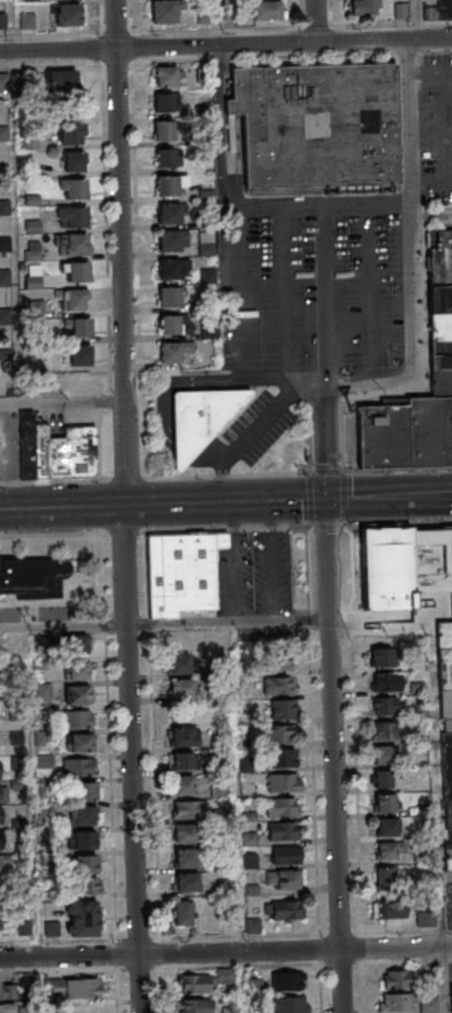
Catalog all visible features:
building: (362, 8)
building: (444, 9)
building: (399, 11)
building: (267, 12)
building: (227, 13)
building: (66, 14)
building: (164, 14)
building: (202, 16)
road: (412, 19)
building: (3, 20)
road: (315, 21)
road: (226, 45)
building: (168, 76)
building: (62, 79)
building: (4, 81)
building: (164, 102)
road: (414, 122)
parking lot: (435, 126)
road: (221, 128)
building: (316, 128)
building: (164, 131)
building: (72, 133)
building: (3, 134)
building: (165, 158)
building: (72, 161)
building: (169, 184)
building: (73, 188)
building: (4, 207)
road: (319, 207)
building: (169, 213)
building: (72, 217)
building: (172, 241)
building: (72, 244)
building: (206, 249)
building: (439, 257)
building: (172, 268)
building: (76, 271)
building: (5, 278)
parking lot: (308, 282)
road: (285, 293)
road: (369, 295)
building: (169, 296)
building: (439, 299)
building: (74, 300)
road: (323, 301)
building: (5, 315)
building: (174, 324)
building: (440, 327)
building: (79, 328)
road: (417, 335)
road: (237, 338)
building: (174, 351)
building: (440, 354)
building: (80, 355)
building: (441, 382)
road: (62, 404)
building: (200, 420)
building: (429, 431)
road: (254, 432)
parking lot: (248, 434)
building: (382, 436)
building: (26, 445)
building: (64, 453)
road: (5, 457)
road: (400, 469)
road: (329, 471)
road: (155, 478)
road: (433, 494)
traffic signals: (326, 497)
road: (349, 497)
road: (311, 498)
road: (207, 500)
road: (127, 506)
road: (400, 523)
road: (330, 524)
road: (125, 533)
road: (53, 534)
road: (270, 560)
road: (234, 561)
building: (430, 562)
building: (385, 572)
building: (181, 573)
parking lot: (254, 573)
building: (33, 576)
building: (451, 608)
parking lot: (64, 613)
parking lot: (9, 614)
road: (164, 624)
road: (380, 629)
building: (444, 638)
building: (76, 645)
building: (13, 646)
building: (381, 657)
building: (179, 664)
building: (77, 671)
building: (444, 672)
building: (385, 682)
building: (277, 685)
building: (180, 687)
building: (43, 691)
building: (77, 694)
road: (331, 704)
building: (384, 705)
building: (445, 706)
building: (283, 709)
building: (79, 718)
building: (445, 727)
building: (387, 731)
building: (281, 734)
building: (183, 737)
building: (79, 742)
building: (382, 755)
building: (282, 758)
building: (182, 761)
building: (79, 767)
building: (446, 768)
building: (0, 770)
building: (383, 779)
building: (284, 782)
building: (183, 785)
road: (436, 787)
building: (220, 789)
building: (247, 789)
building: (86, 791)
road: (112, 793)
building: (3, 794)
building: (383, 803)
building: (281, 807)
building: (188, 810)
building: (0, 815)
building: (82, 815)
building: (447, 818)
building: (386, 827)
building: (282, 831)
building: (184, 833)
building: (450, 839)
building: (1, 840)
building: (85, 840)
building: (386, 851)
building: (285, 854)
building: (187, 858)
building: (448, 859)
building: (4, 863)
building: (86, 864)
building: (388, 877)
building: (282, 879)
building: (186, 882)
building: (87, 885)
building: (282, 909)
building: (390, 909)
building: (183, 913)
building: (83, 918)
building: (425, 920)
building: (24, 928)
building: (52, 928)
road: (158, 935)
road: (226, 953)
road: (407, 960)
parking lot: (450, 972)
building: (225, 975)
building: (399, 979)
road: (444, 979)
building: (287, 981)
building: (195, 983)
road: (364, 987)
building: (73, 989)
building: (5, 990)
building: (451, 995)
building: (398, 1002)
building: (288, 1004)
building: (194, 1005)
building: (429, 1005)
building: (7, 1008)
building: (229, 1010)

